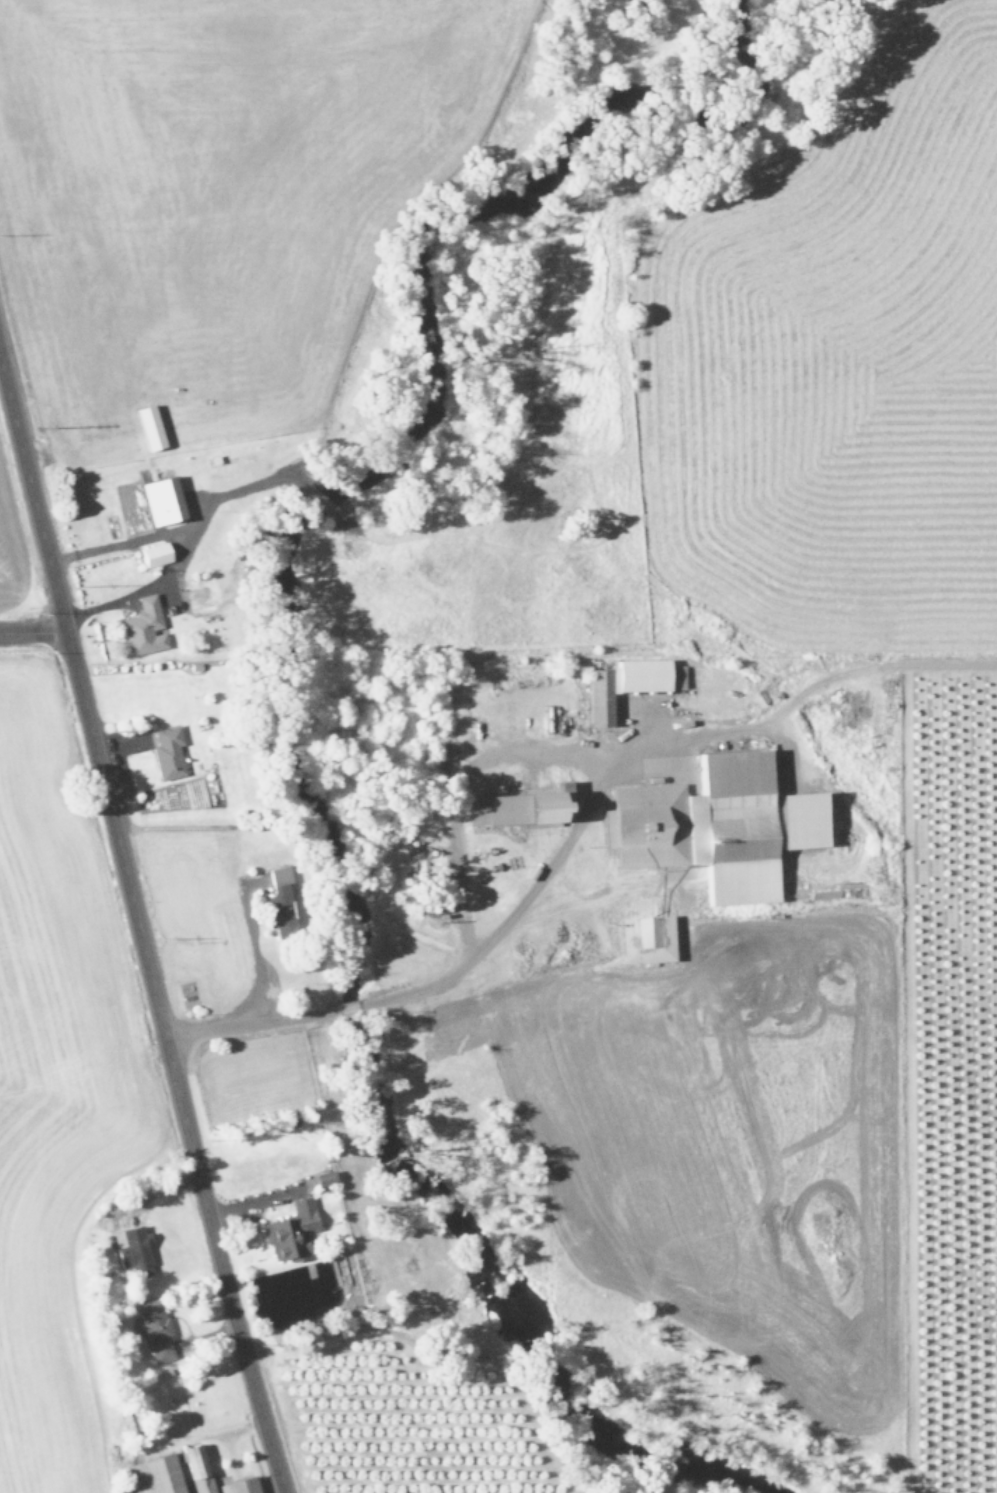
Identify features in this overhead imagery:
building: (148, 429)
building: (162, 501)
building: (323, 505)
building: (154, 555)
building: (143, 628)
road: (31, 634)
building: (626, 684)
crop: (785, 744)
building: (167, 753)
building: (523, 807)
building: (703, 827)
building: (281, 902)
road: (135, 935)
building: (645, 940)
crop: (82, 1161)
building: (290, 1231)
building: (132, 1249)
building: (154, 1329)
crop: (421, 1423)
building: (195, 1471)
building: (156, 1475)
building: (239, 1486)

